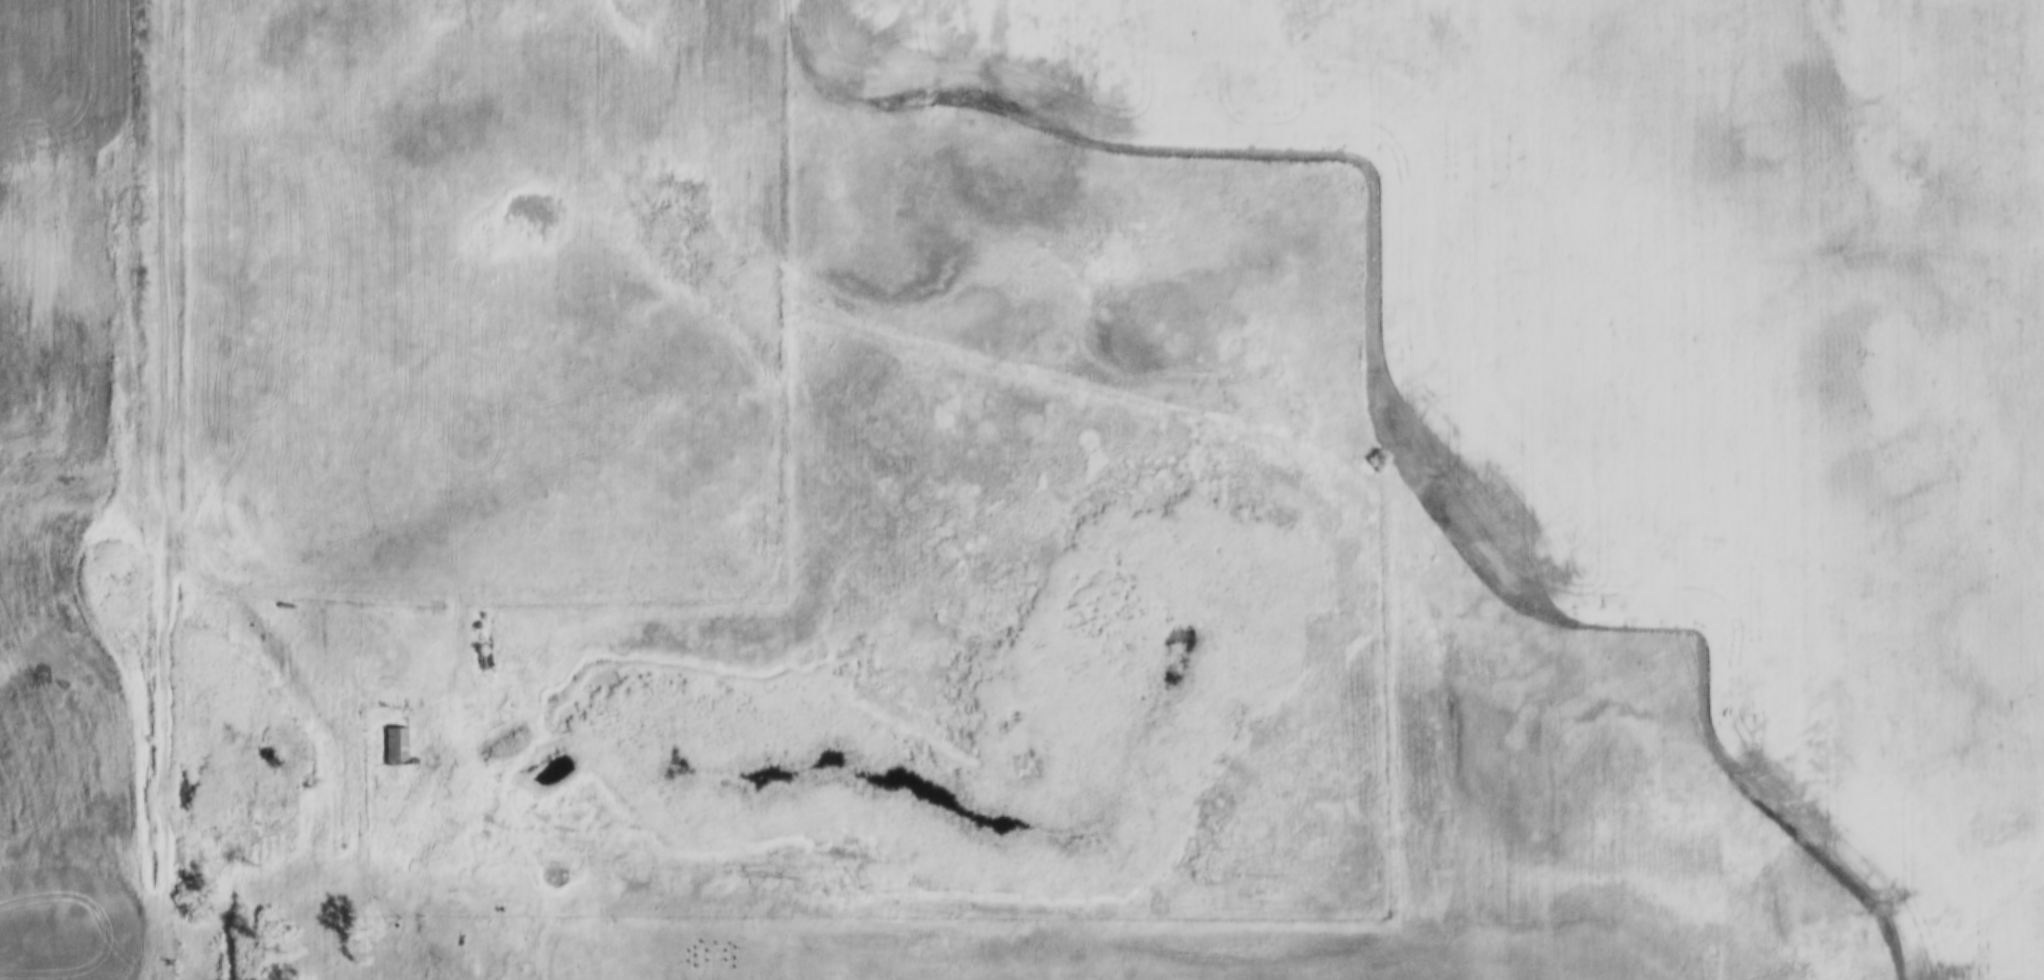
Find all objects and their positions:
building: (393, 746)

